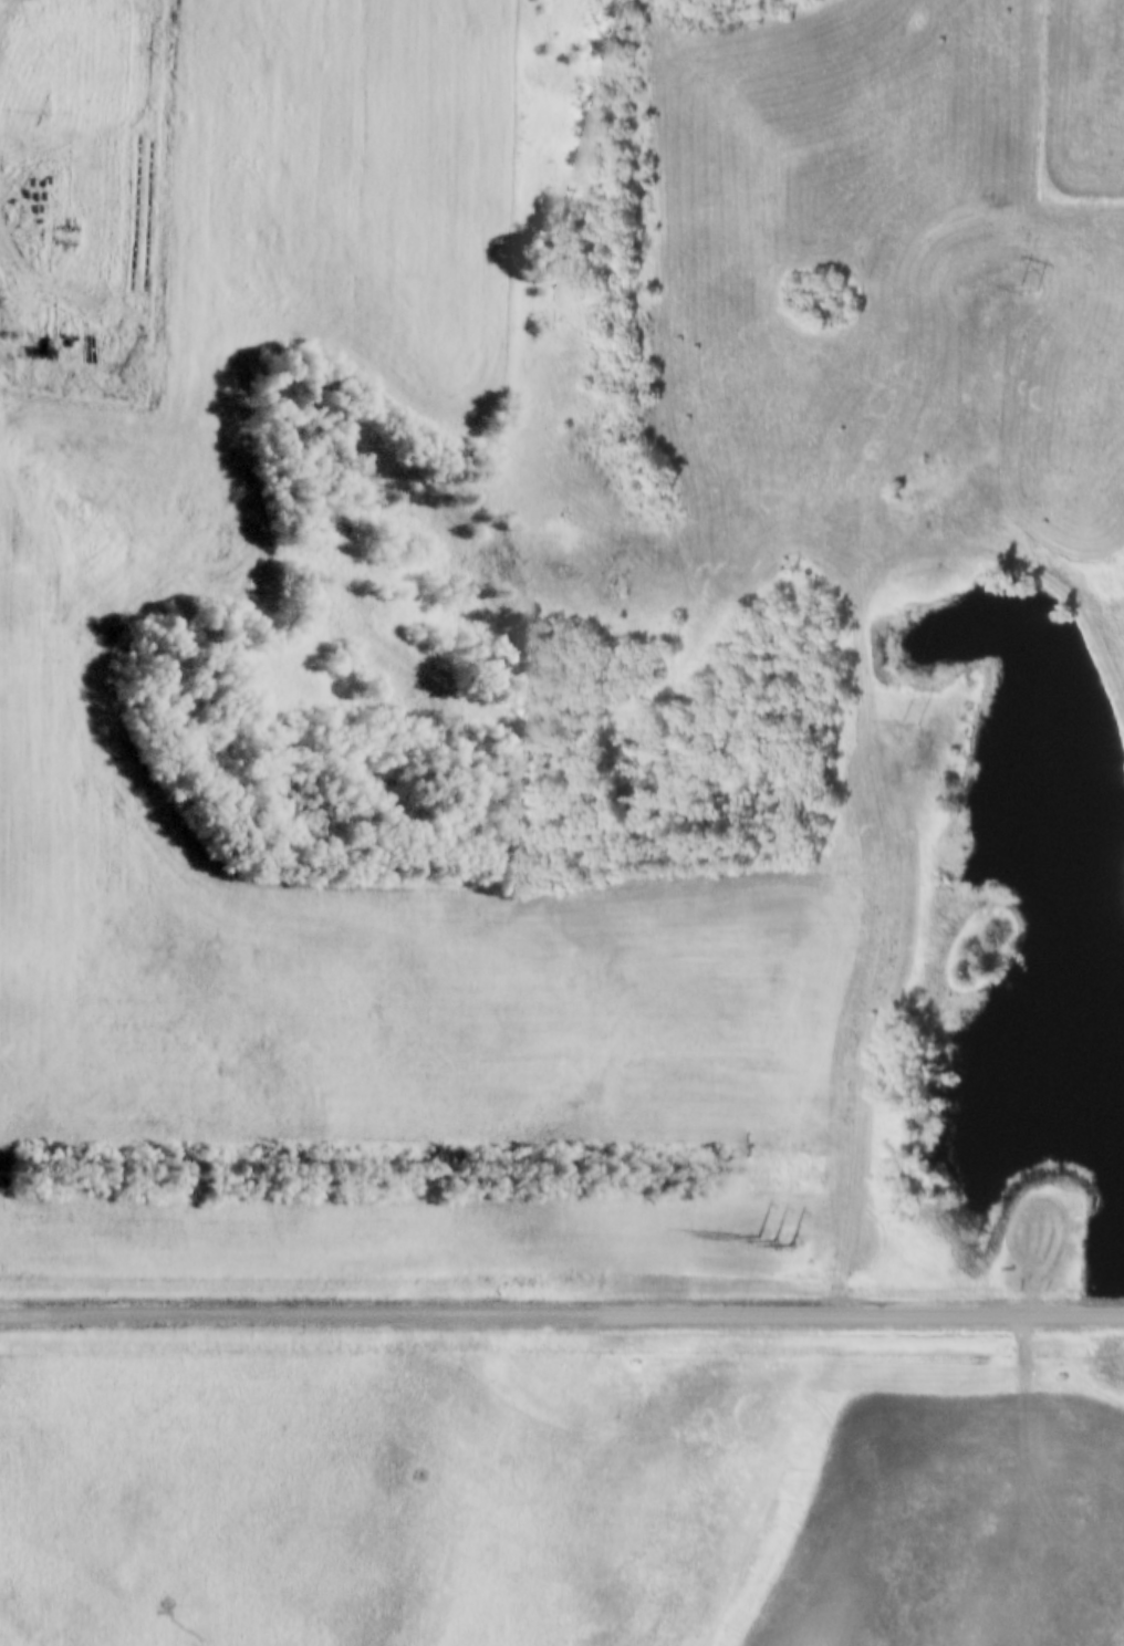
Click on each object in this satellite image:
power tower: (1032, 284)
power tower: (919, 720)
power tower: (782, 1229)
road: (562, 1313)

